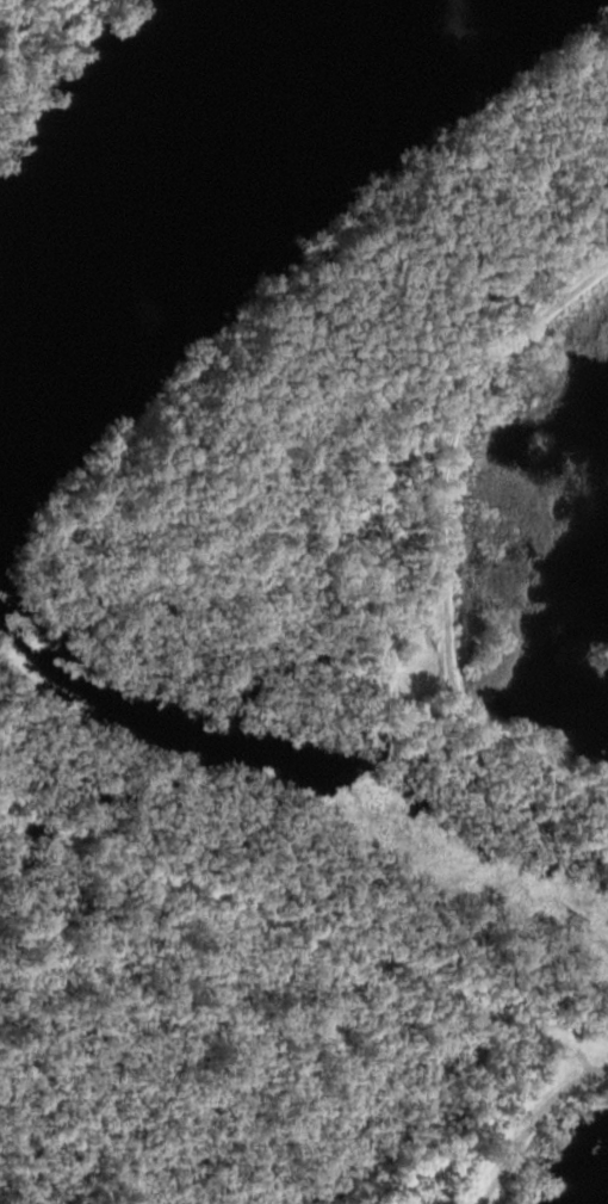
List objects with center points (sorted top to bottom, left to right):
river: (167, 169)

